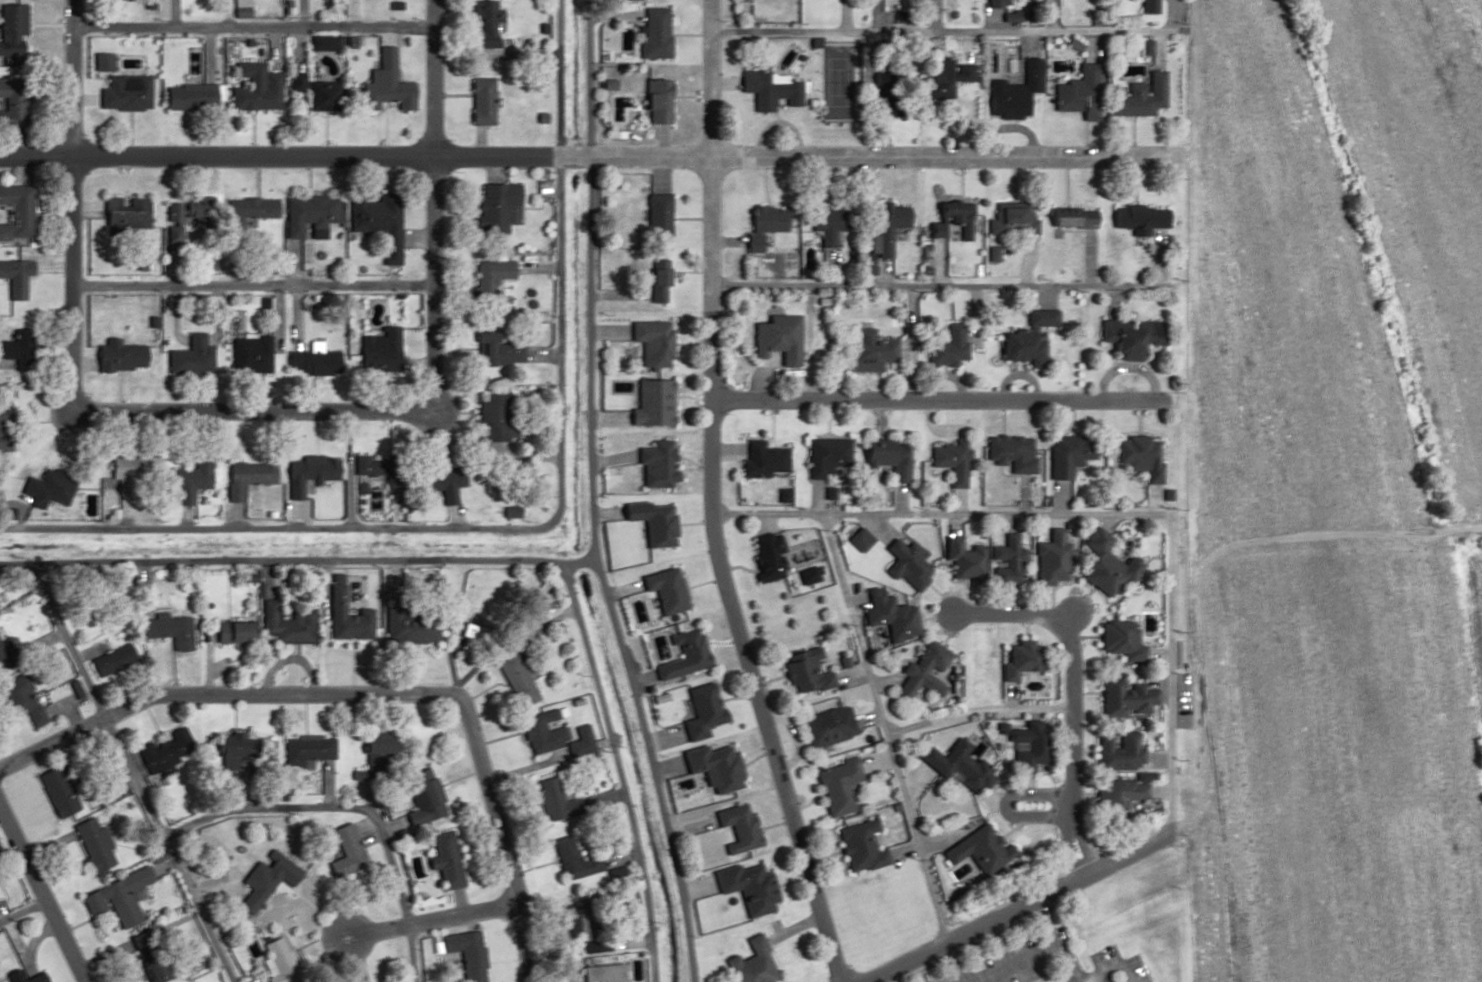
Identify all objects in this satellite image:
building: (992, 3)
building: (1146, 7)
building: (480, 25)
road: (251, 26)
building: (11, 30)
road: (947, 32)
building: (653, 34)
road: (71, 76)
road: (430, 77)
building: (944, 77)
road: (709, 78)
building: (377, 81)
building: (254, 89)
building: (308, 90)
building: (769, 90)
building: (1012, 92)
building: (1076, 92)
building: (115, 94)
building: (1135, 97)
building: (175, 98)
building: (477, 101)
building: (652, 102)
building: (9, 105)
road: (594, 156)
crop: (1427, 191)
building: (490, 209)
building: (245, 210)
building: (15, 213)
building: (175, 214)
building: (121, 215)
building: (303, 215)
building: (654, 217)
building: (1070, 219)
building: (1136, 219)
building: (1010, 220)
building: (948, 221)
building: (823, 223)
building: (374, 224)
building: (761, 225)
building: (880, 234)
road: (557, 267)
road: (587, 267)
building: (490, 272)
building: (13, 279)
building: (656, 281)
road: (250, 282)
road: (949, 284)
crop: (1281, 306)
building: (1041, 318)
building: (1130, 337)
road: (708, 339)
building: (775, 339)
building: (650, 343)
building: (947, 347)
building: (1019, 348)
building: (17, 350)
building: (867, 351)
building: (374, 352)
building: (495, 354)
building: (246, 355)
building: (116, 357)
building: (186, 358)
building: (307, 364)
road: (1149, 400)
building: (648, 404)
road: (255, 408)
building: (492, 418)
building: (4, 430)
building: (1011, 452)
building: (1069, 454)
building: (824, 456)
building: (1141, 456)
building: (762, 459)
building: (886, 459)
building: (950, 460)
building: (653, 464)
building: (123, 466)
building: (376, 469)
building: (304, 474)
building: (243, 476)
building: (185, 480)
building: (439, 480)
building: (48, 487)
building: (506, 511)
road: (958, 516)
road: (269, 527)
road: (1325, 535)
building: (855, 542)
road: (592, 548)
building: (765, 556)
building: (1052, 559)
building: (1006, 561)
building: (966, 562)
road: (296, 564)
building: (905, 564)
building: (1104, 564)
building: (662, 589)
building: (888, 616)
building: (270, 621)
road: (853, 625)
building: (164, 629)
road: (205, 629)
building: (404, 629)
building: (342, 631)
building: (226, 633)
building: (1121, 640)
building: (680, 656)
building: (1021, 659)
building: (108, 662)
building: (803, 672)
building: (922, 672)
building: (512, 681)
road: (367, 691)
road: (1073, 692)
building: (1127, 697)
building: (18, 700)
road: (978, 711)
building: (698, 712)
building: (824, 726)
building: (538, 732)
road: (1172, 739)
building: (225, 744)
building: (1027, 744)
building: (305, 748)
building: (372, 750)
building: (164, 751)
road: (772, 751)
building: (1119, 751)
crop: (1337, 763)
building: (956, 765)
building: (710, 767)
road: (617, 770)
road: (650, 770)
building: (835, 786)
building: (1123, 790)
building: (55, 791)
building: (418, 797)
building: (546, 798)
road: (321, 808)
building: (734, 827)
road: (916, 839)
building: (857, 845)
building: (90, 846)
building: (344, 847)
building: (978, 848)
road: (165, 849)
road: (7, 852)
building: (440, 860)
building: (569, 861)
building: (265, 882)
building: (745, 888)
building: (113, 897)
road: (39, 900)
road: (428, 921)
building: (571, 923)
road: (978, 928)
road: (1059, 945)
road: (968, 951)
building: (463, 954)
parking lot: (1104, 956)
parking lot: (991, 959)
building: (277, 960)
road: (1017, 962)
building: (749, 964)
road: (975, 966)
road: (1114, 967)
parking lot: (1138, 968)
parking lot: (1031, 971)
road: (1041, 976)
road: (1071, 977)
building: (32, 978)
parking lot: (1116, 980)

